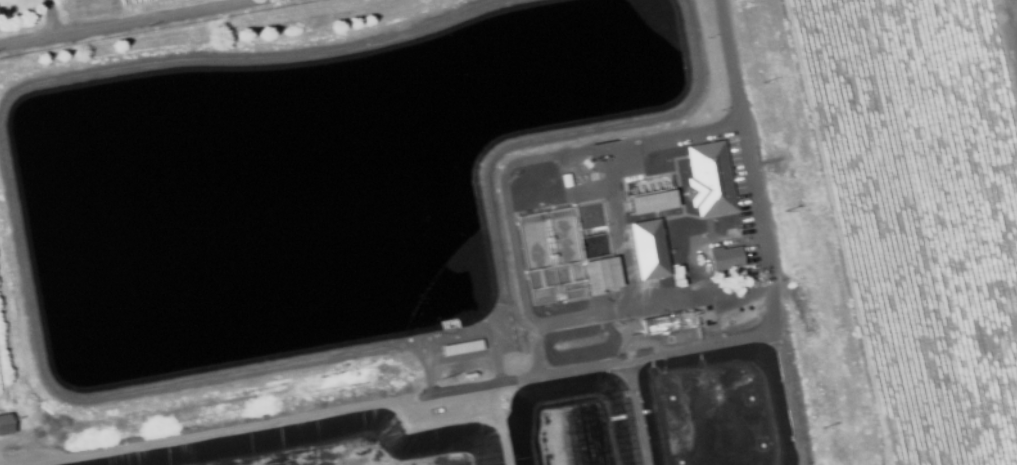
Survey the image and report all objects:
building: (761, 0)
road: (50, 18)
road: (127, 22)
road: (729, 61)
building: (777, 120)
building: (796, 153)
building: (783, 156)
building: (567, 178)
building: (708, 179)
building: (790, 198)
building: (650, 201)
building: (648, 249)
building: (724, 259)
building: (599, 274)
road: (457, 339)
building: (463, 345)
road: (535, 369)
road: (634, 412)
road: (289, 418)
building: (4, 425)

